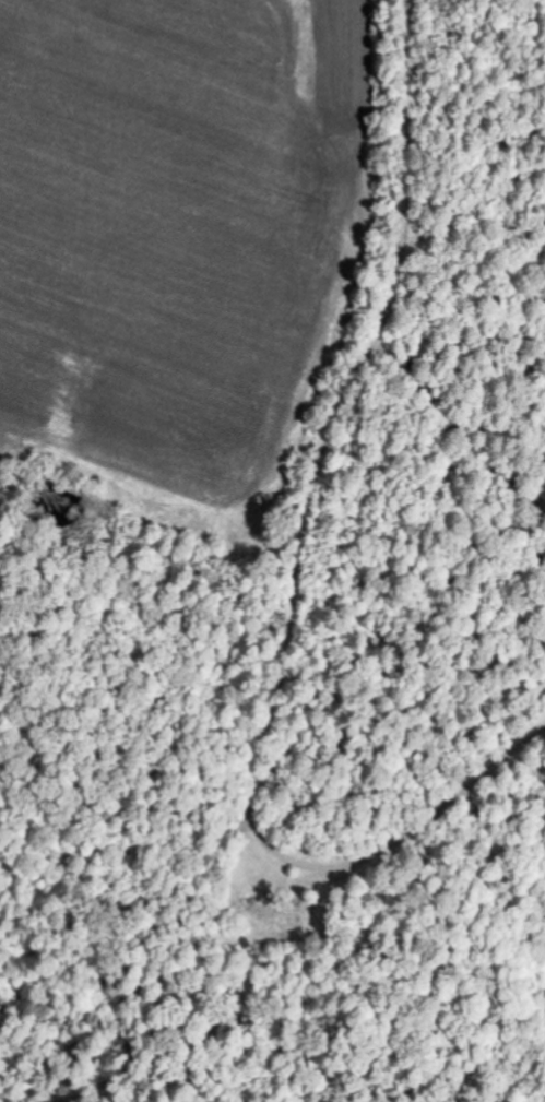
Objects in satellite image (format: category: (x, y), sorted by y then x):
road: (513, 759)

